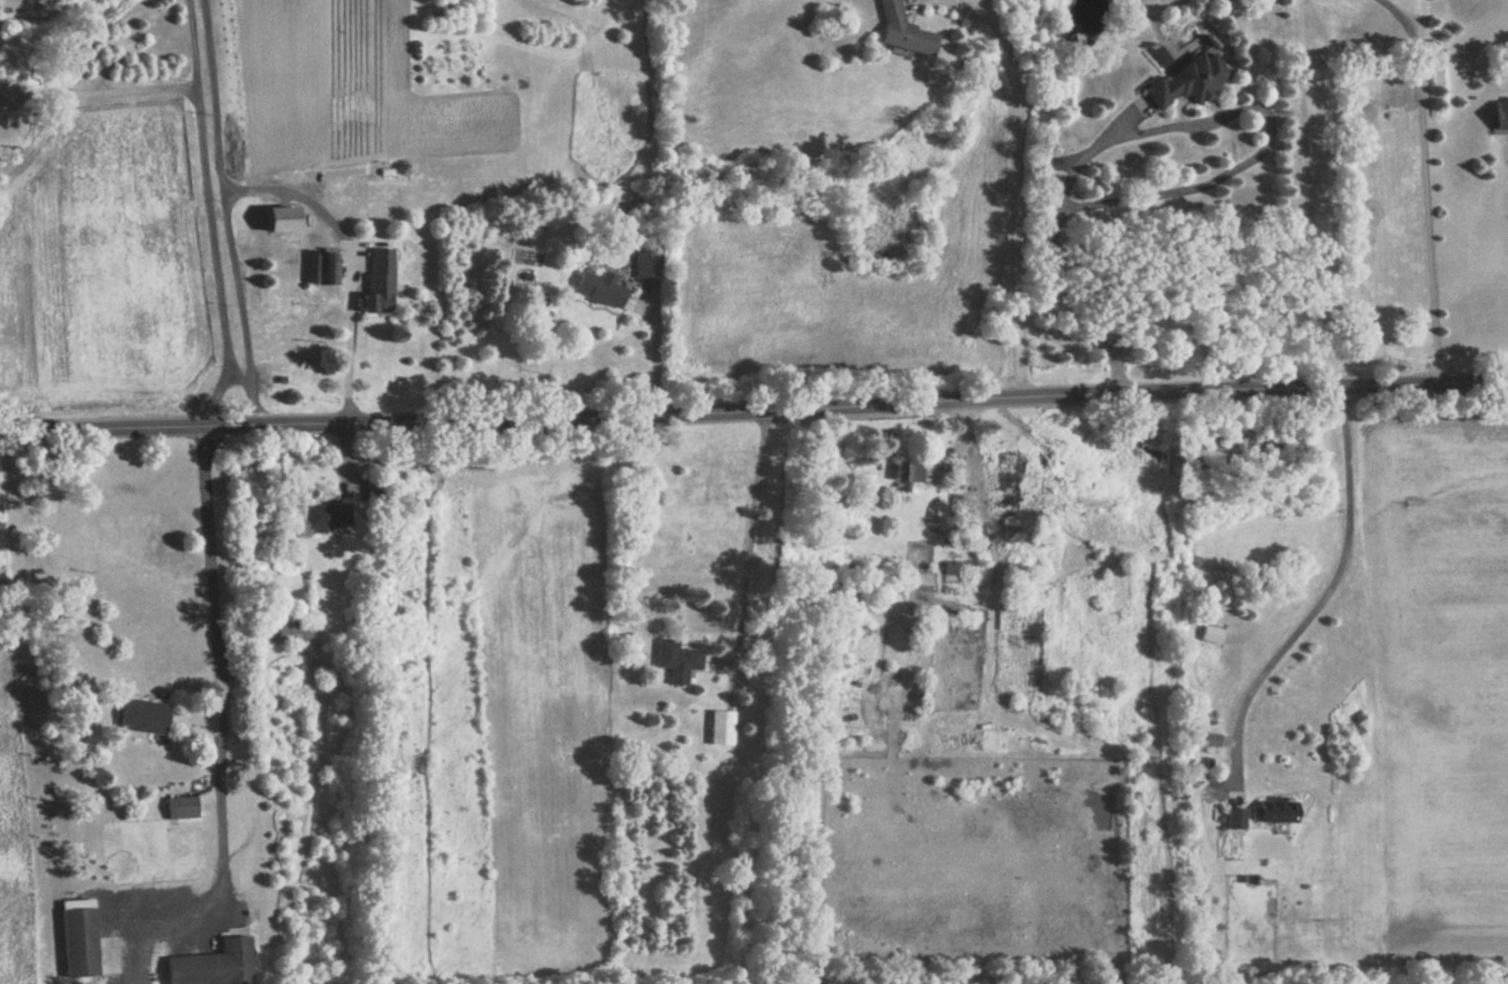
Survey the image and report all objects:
building: (902, 31)
building: (1160, 56)
building: (1188, 80)
road: (95, 91)
building: (1500, 115)
road: (1171, 131)
road: (1024, 182)
road: (1424, 184)
road: (207, 187)
road: (292, 192)
road: (226, 212)
building: (279, 218)
building: (644, 261)
building: (323, 266)
building: (377, 280)
building: (599, 288)
road: (350, 331)
road: (657, 350)
road: (238, 375)
road: (213, 399)
road: (754, 411)
road: (972, 458)
road: (343, 461)
building: (908, 471)
building: (1009, 480)
building: (374, 487)
building: (323, 516)
road: (749, 527)
road: (1330, 595)
building: (291, 632)
building: (676, 660)
building: (140, 715)
road: (195, 719)
crop: (500, 724)
building: (720, 727)
road: (218, 740)
building: (1211, 740)
crop: (14, 800)
building: (180, 808)
building: (1272, 811)
building: (1234, 816)
crop: (964, 872)
building: (77, 938)
building: (212, 964)

